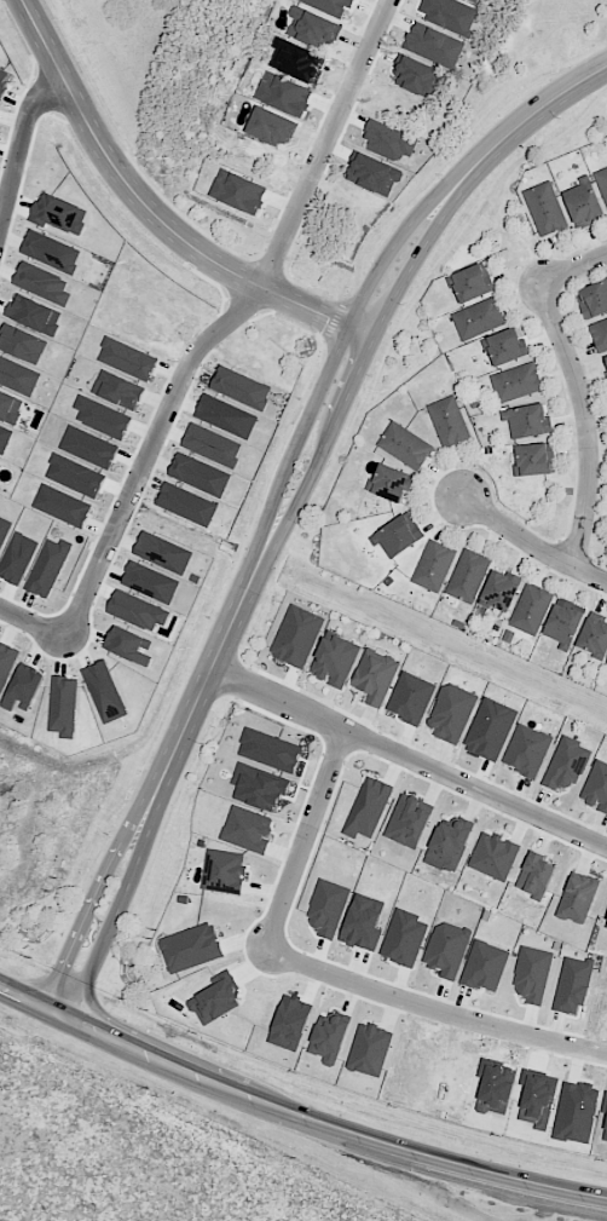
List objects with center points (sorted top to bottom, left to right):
building: (478, 0)
building: (329, 6)
building: (450, 16)
building: (313, 29)
building: (434, 50)
building: (0, 69)
building: (283, 94)
road: (528, 116)
road: (18, 126)
building: (279, 132)
building: (389, 142)
road: (325, 144)
building: (602, 182)
building: (237, 192)
building: (586, 207)
building: (548, 209)
road: (154, 213)
building: (58, 214)
road: (510, 232)
road: (574, 269)
building: (474, 283)
building: (594, 301)
building: (480, 321)
road: (391, 323)
building: (601, 335)
building: (509, 349)
building: (606, 359)
road: (329, 372)
building: (606, 373)
road: (352, 385)
building: (519, 385)
building: (239, 388)
building: (451, 424)
building: (532, 424)
road: (585, 426)
building: (405, 448)
road: (144, 453)
building: (538, 461)
building: (200, 476)
building: (392, 485)
road: (305, 512)
building: (401, 536)
road: (533, 547)
building: (163, 553)
building: (47, 568)
building: (435, 568)
building: (470, 578)
building: (149, 583)
building: (502, 592)
building: (534, 610)
building: (137, 611)
building: (565, 623)
road: (33, 626)
building: (296, 637)
building: (595, 639)
building: (128, 646)
building: (334, 661)
building: (375, 676)
building: (23, 689)
building: (104, 692)
road: (198, 692)
building: (63, 707)
building: (451, 713)
building: (526, 750)
road: (407, 755)
building: (291, 759)
building: (566, 765)
building: (596, 787)
building: (366, 808)
building: (407, 822)
building: (247, 830)
road: (306, 837)
building: (449, 843)
building: (493, 856)
building: (222, 871)
building: (534, 876)
building: (577, 898)
road: (93, 899)
building: (326, 909)
road: (117, 910)
building: (363, 923)
building: (606, 928)
building: (404, 938)
building: (190, 949)
building: (446, 949)
building: (484, 967)
building: (531, 975)
building: (572, 985)
road: (433, 1010)
building: (329, 1039)
building: (369, 1049)
road: (22, 1055)
road: (34, 1094)
road: (295, 1119)

